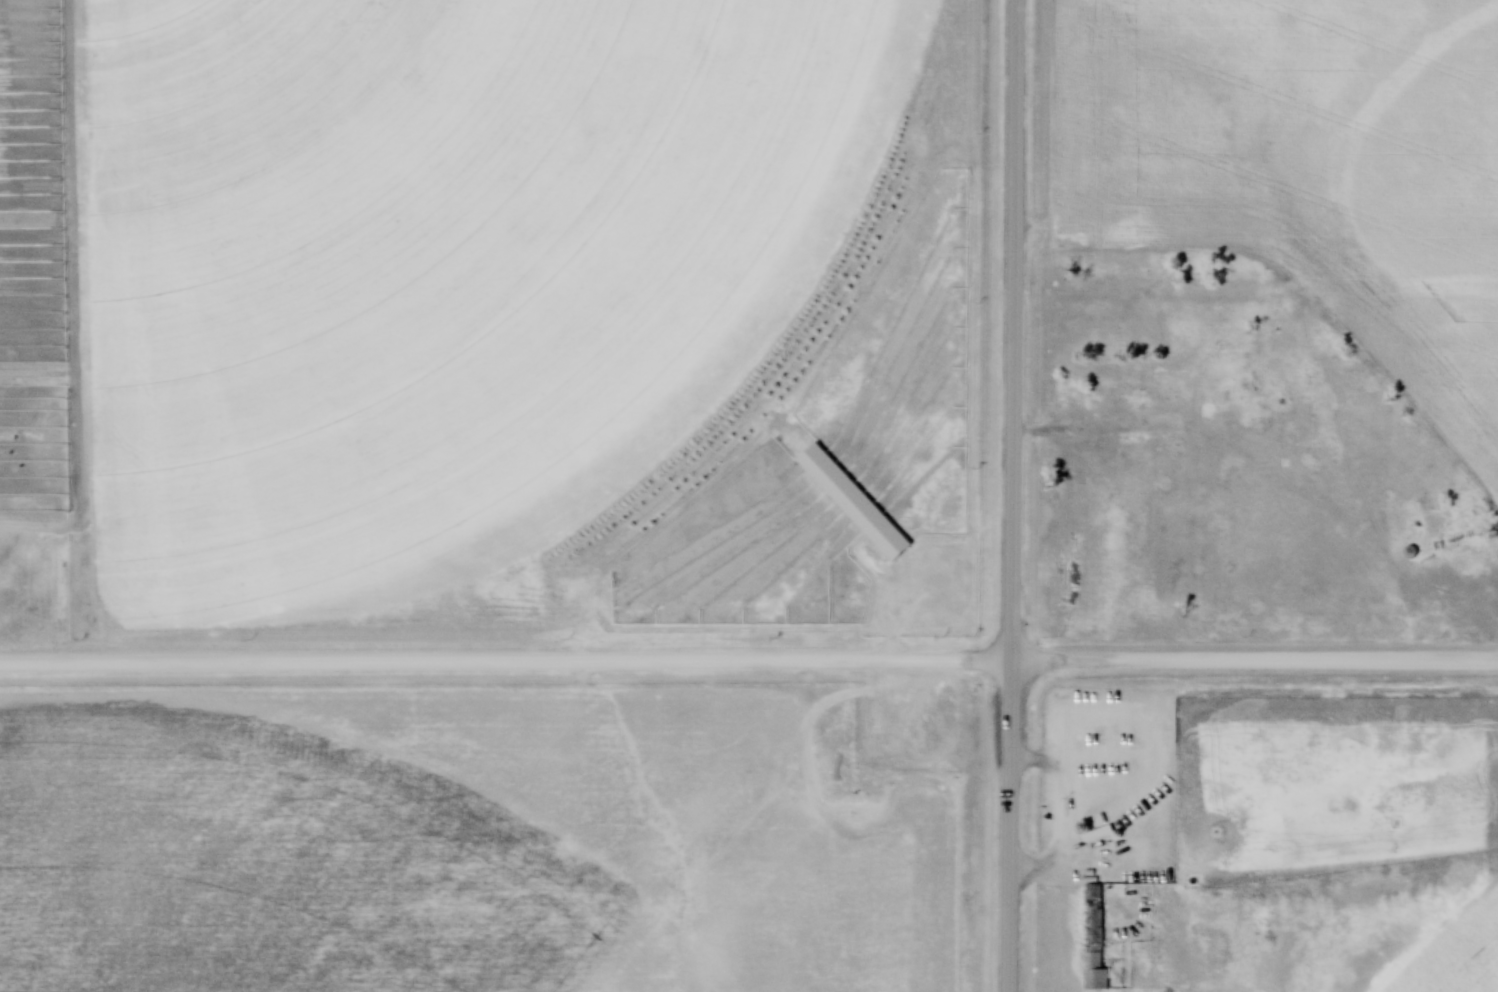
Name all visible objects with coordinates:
road: (1009, 496)
road: (748, 665)
building: (1094, 952)

